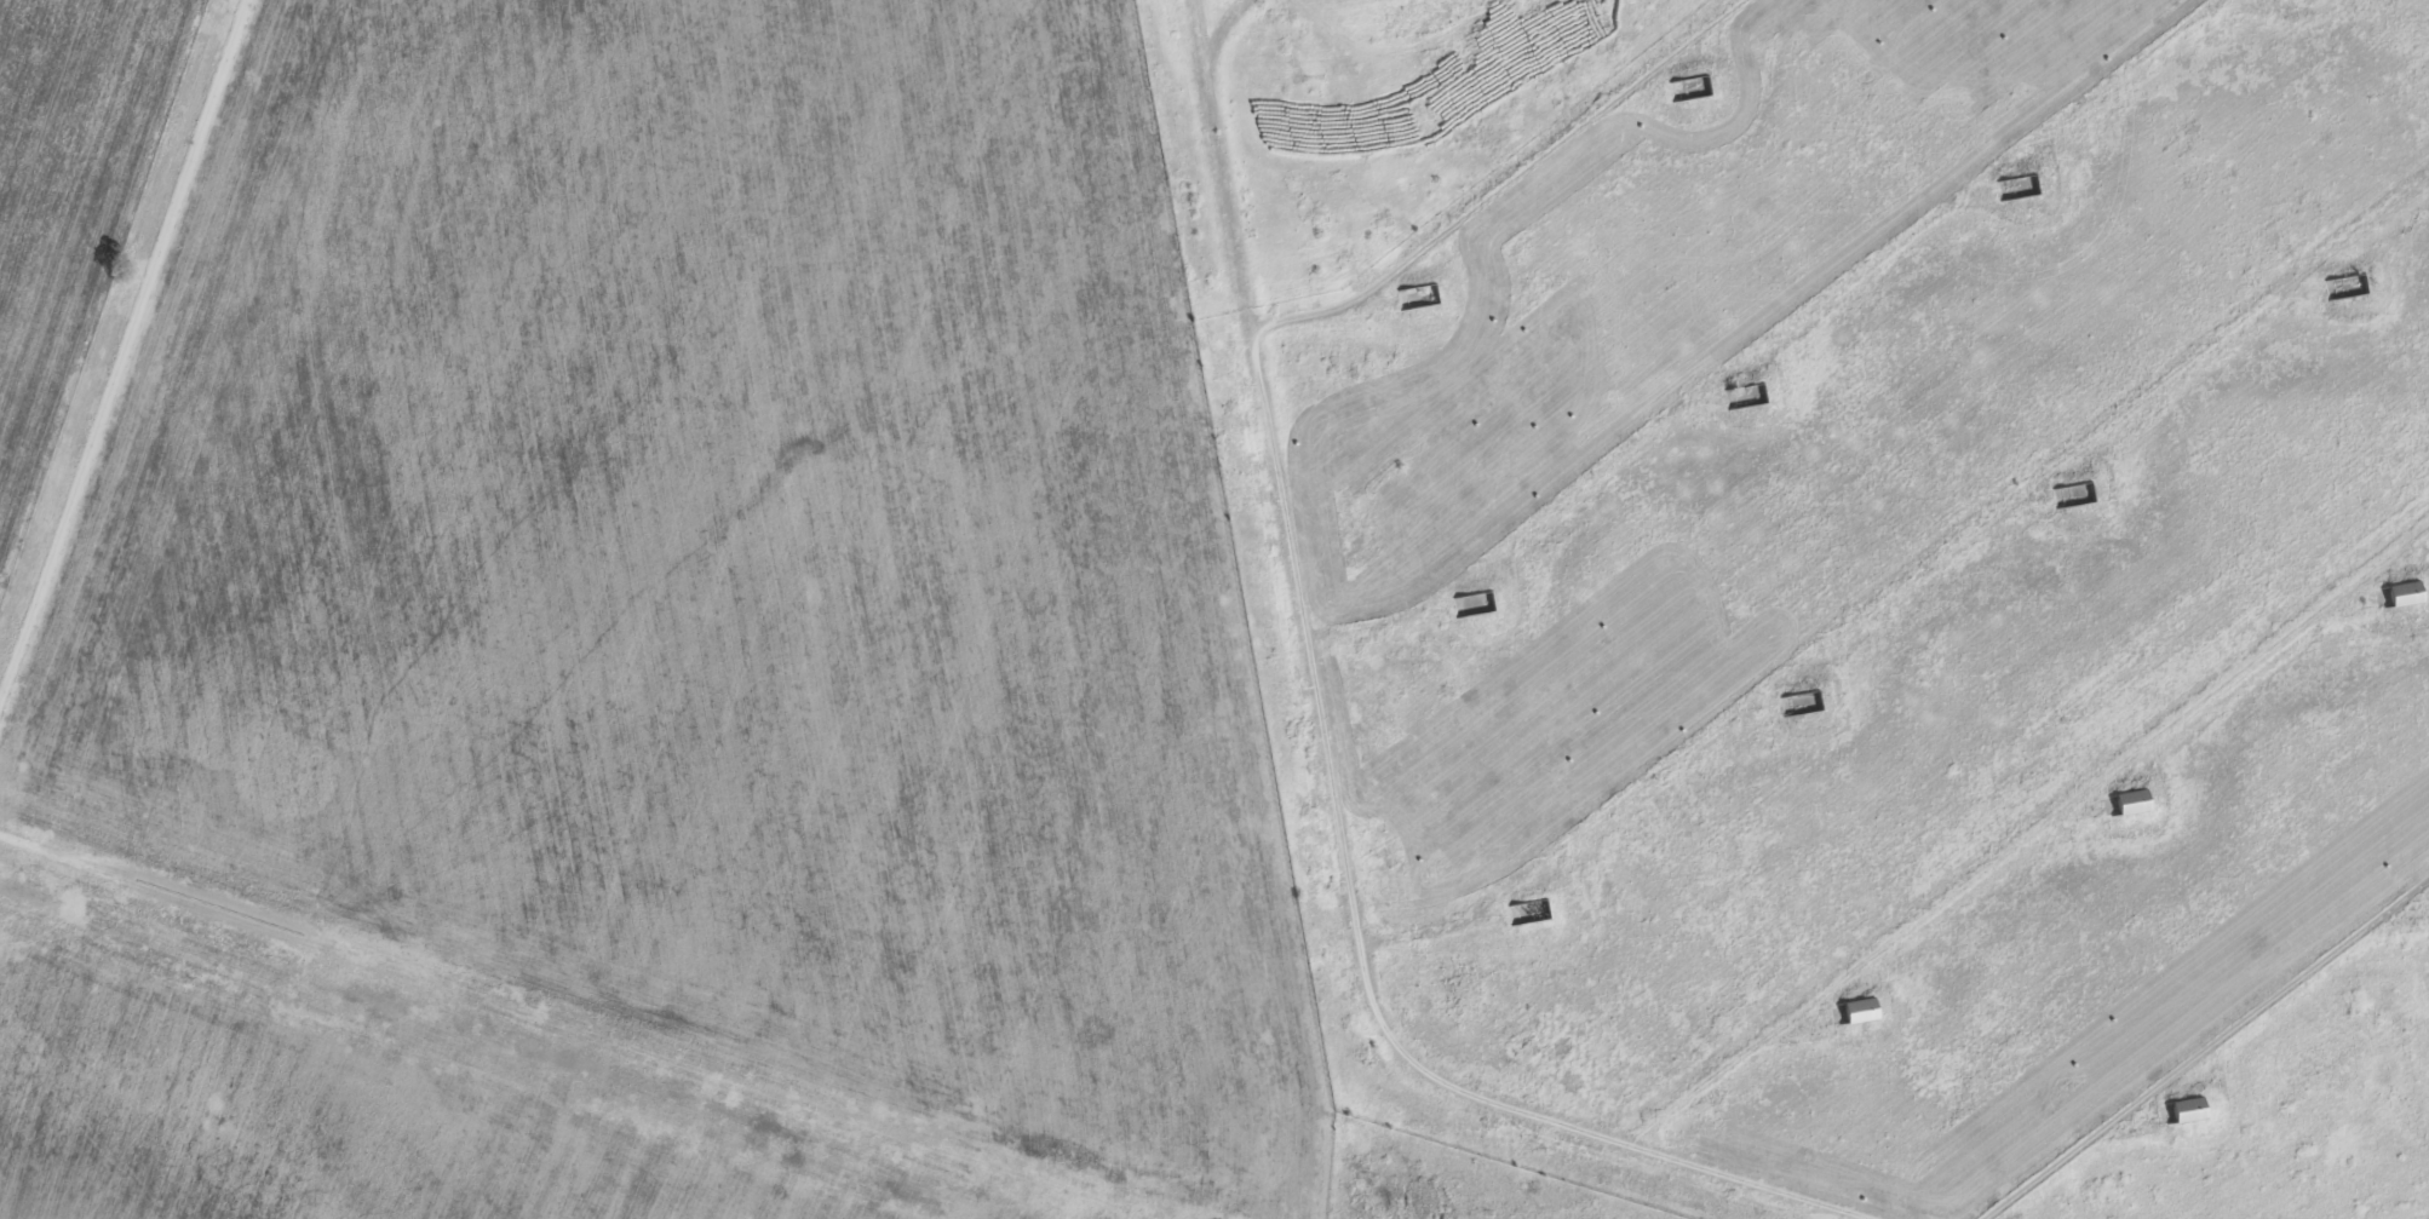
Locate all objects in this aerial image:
road: (1239, 31)
road: (1509, 178)
road: (1770, 332)
road: (132, 374)
building: (1742, 396)
road: (1902, 574)
building: (2402, 592)
road: (1330, 780)
building: (2131, 801)
road: (2029, 836)
building: (1859, 1010)
road: (2207, 1048)
building: (2186, 1109)

